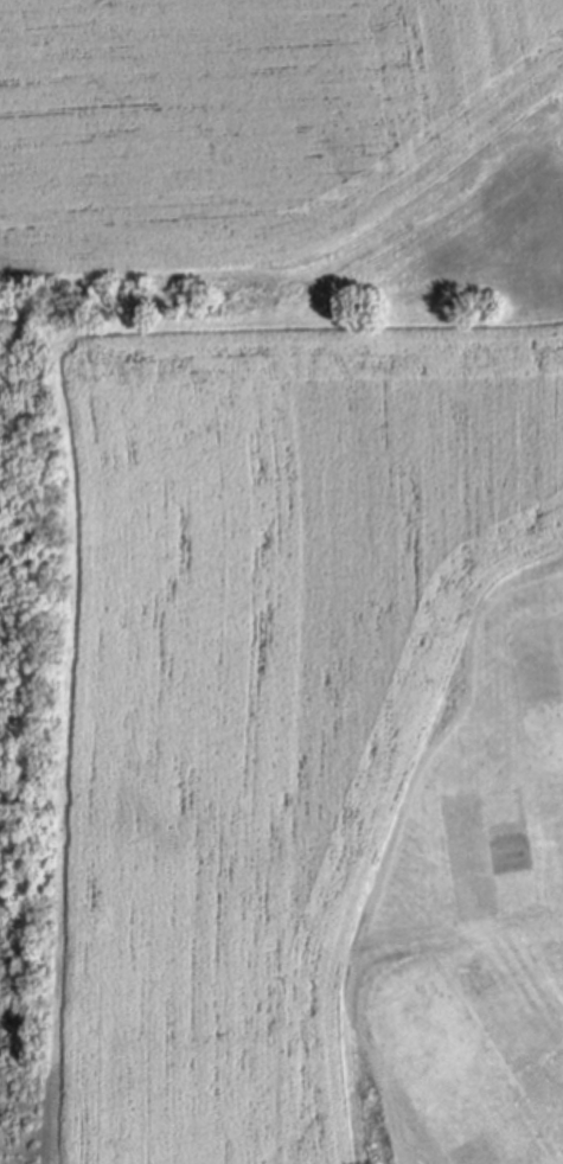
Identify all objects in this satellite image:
park: (281, 582)

